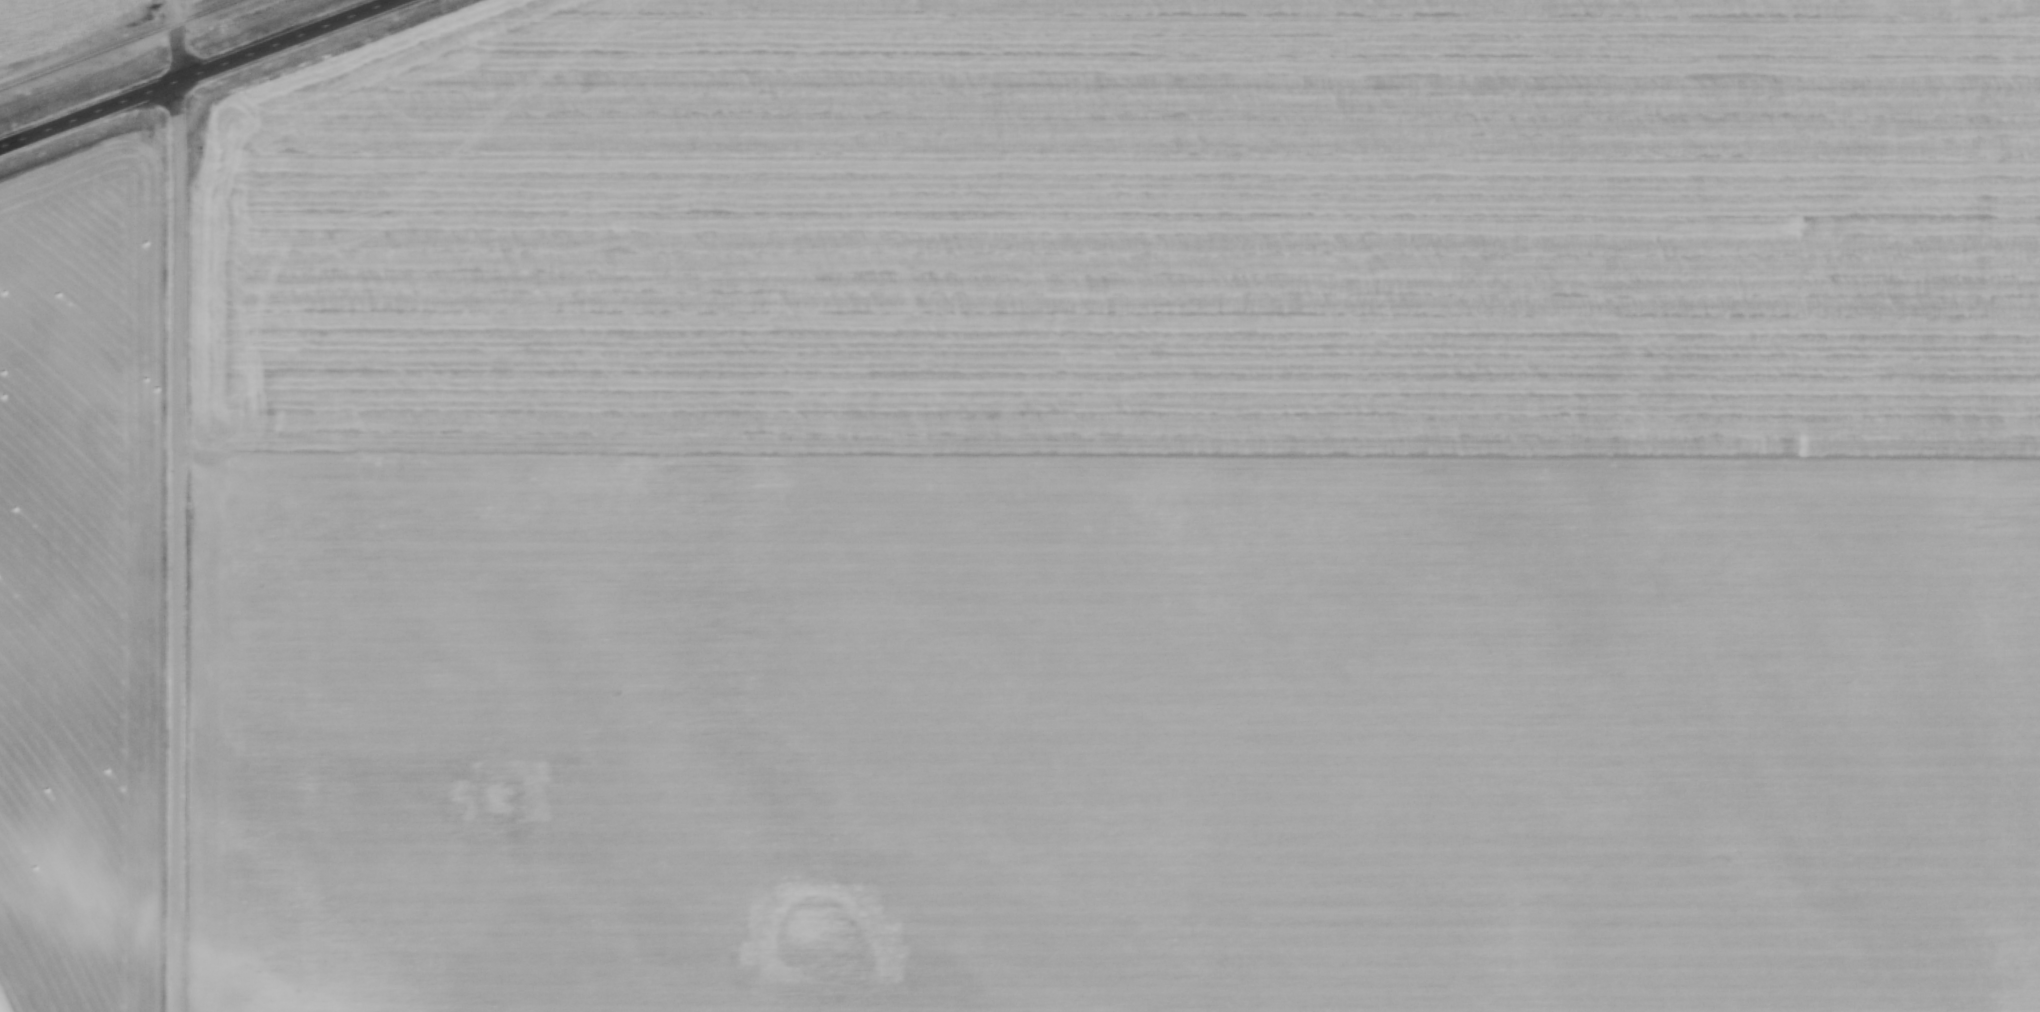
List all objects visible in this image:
crop: (59, 22)
railway: (123, 41)
road: (194, 72)
road: (176, 506)
crop: (1123, 510)
crop: (83, 579)

